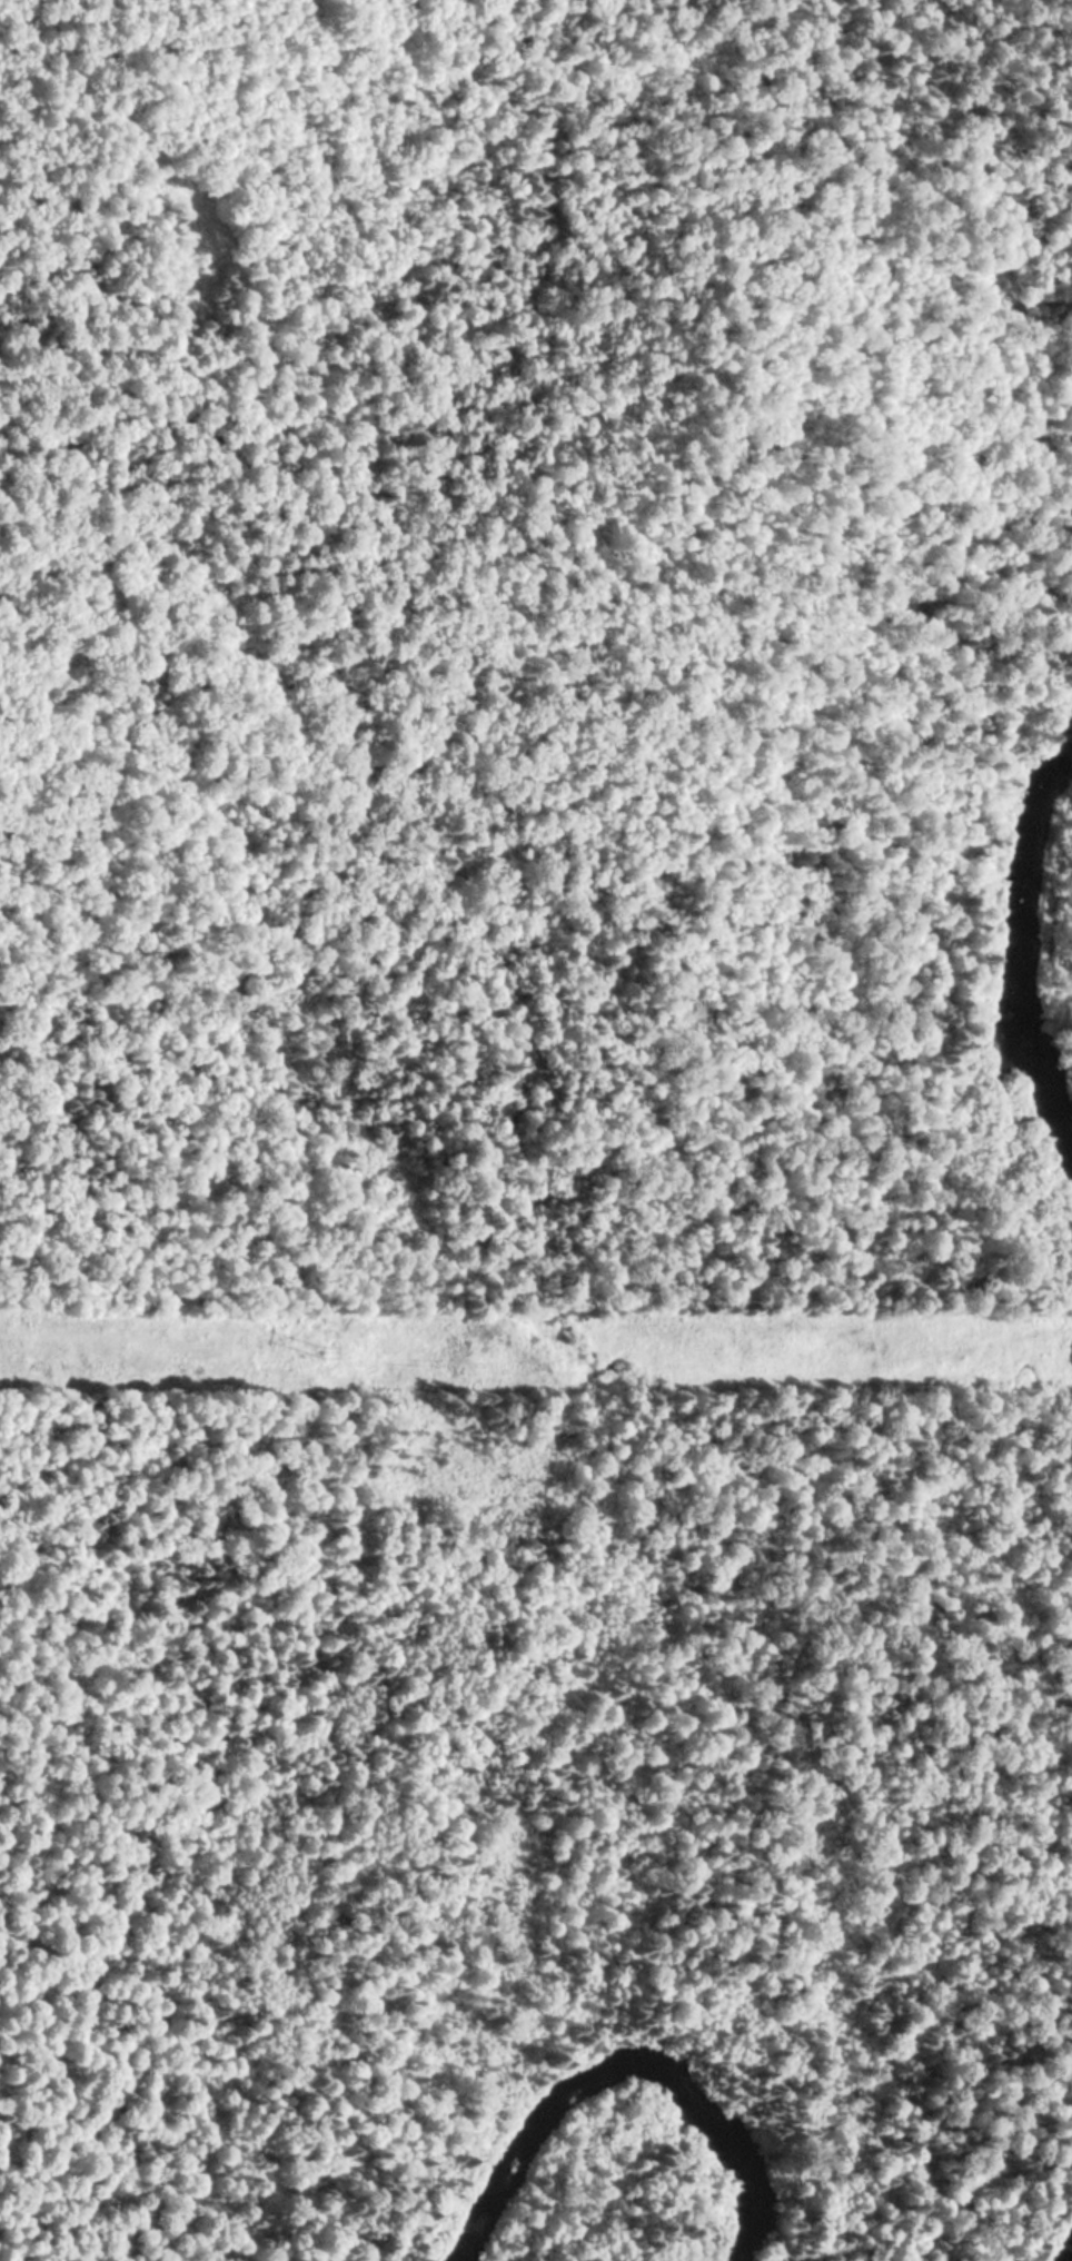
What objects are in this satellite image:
river: (983, 982)
power tower: (317, 1353)
river: (587, 2094)
river: (1066, 2249)

